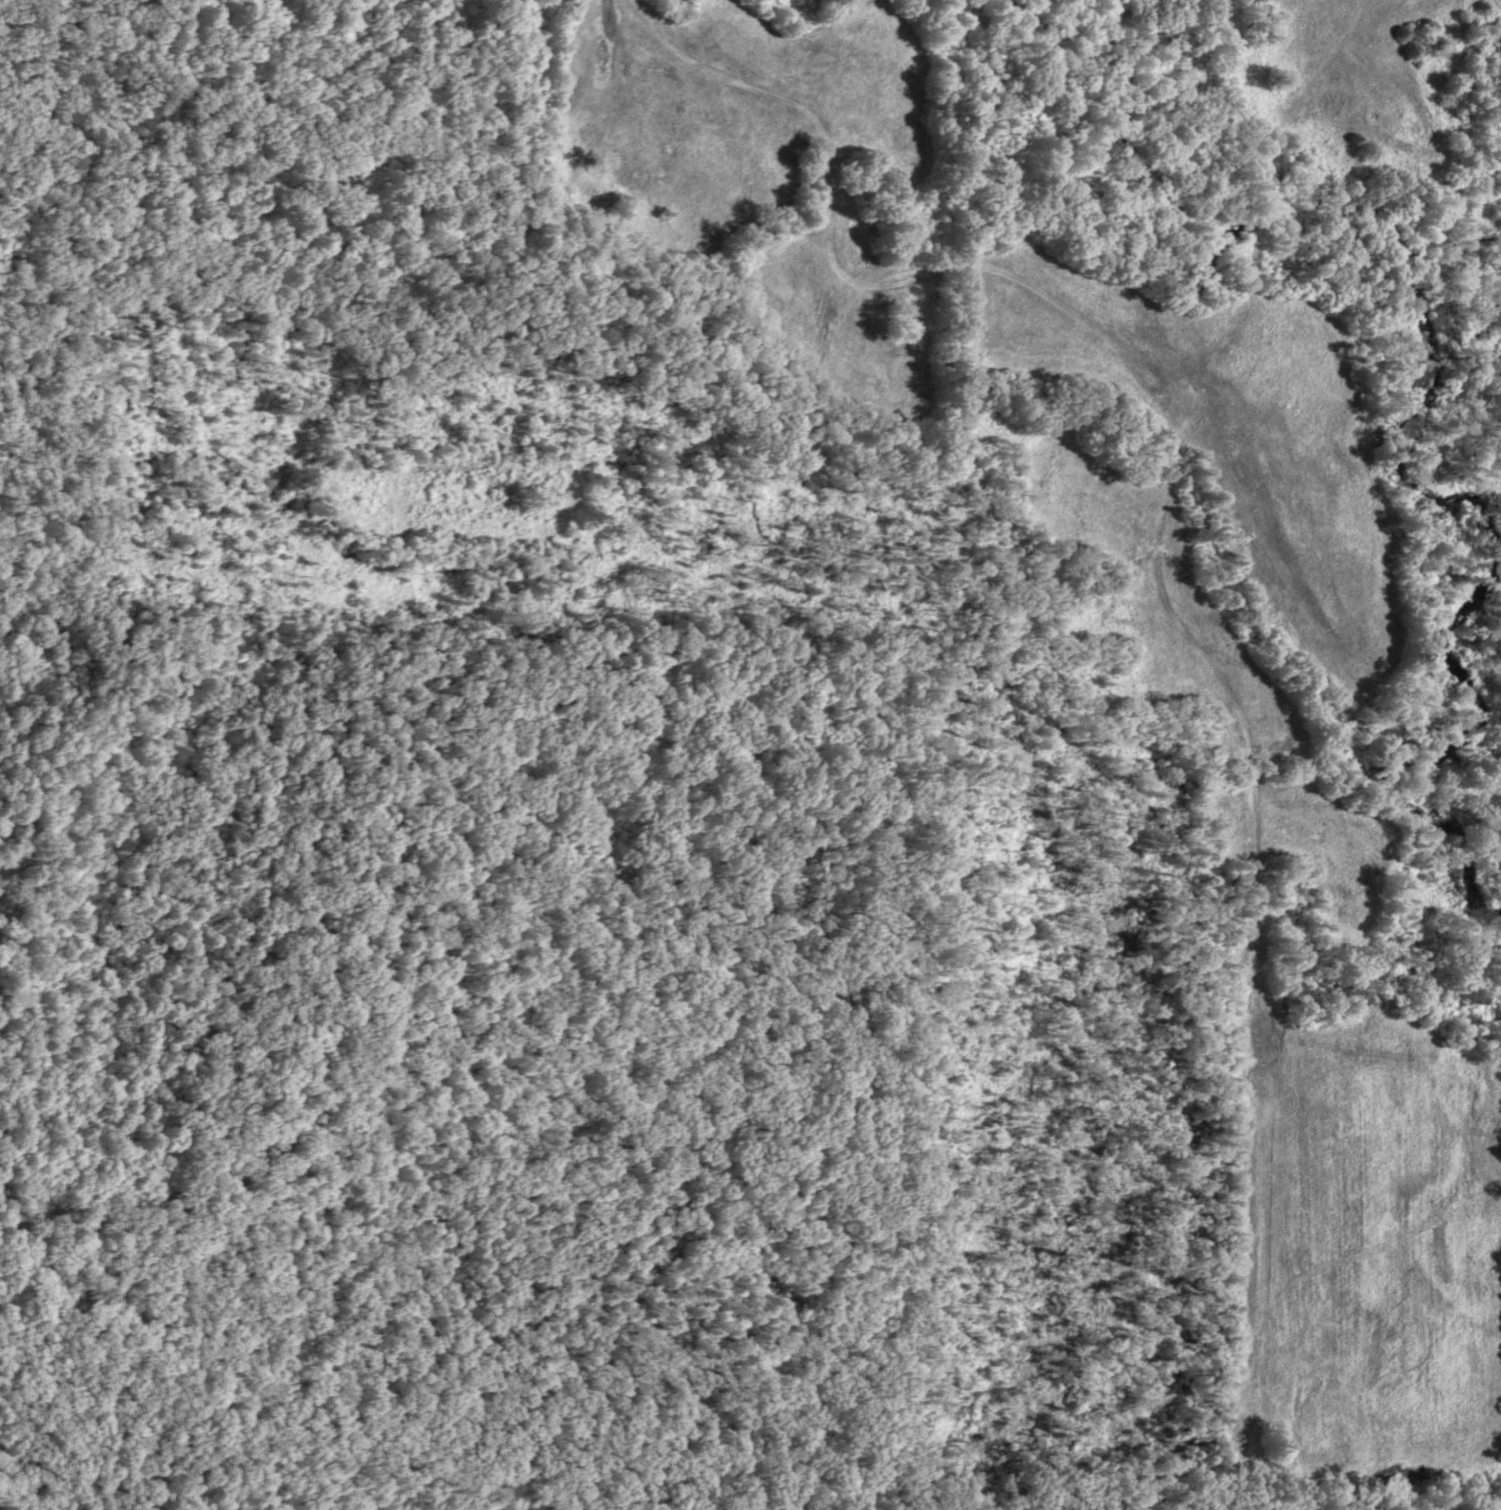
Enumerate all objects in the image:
building: (967, 307)
road: (12, 866)
road: (10, 1075)
road: (3, 1202)

